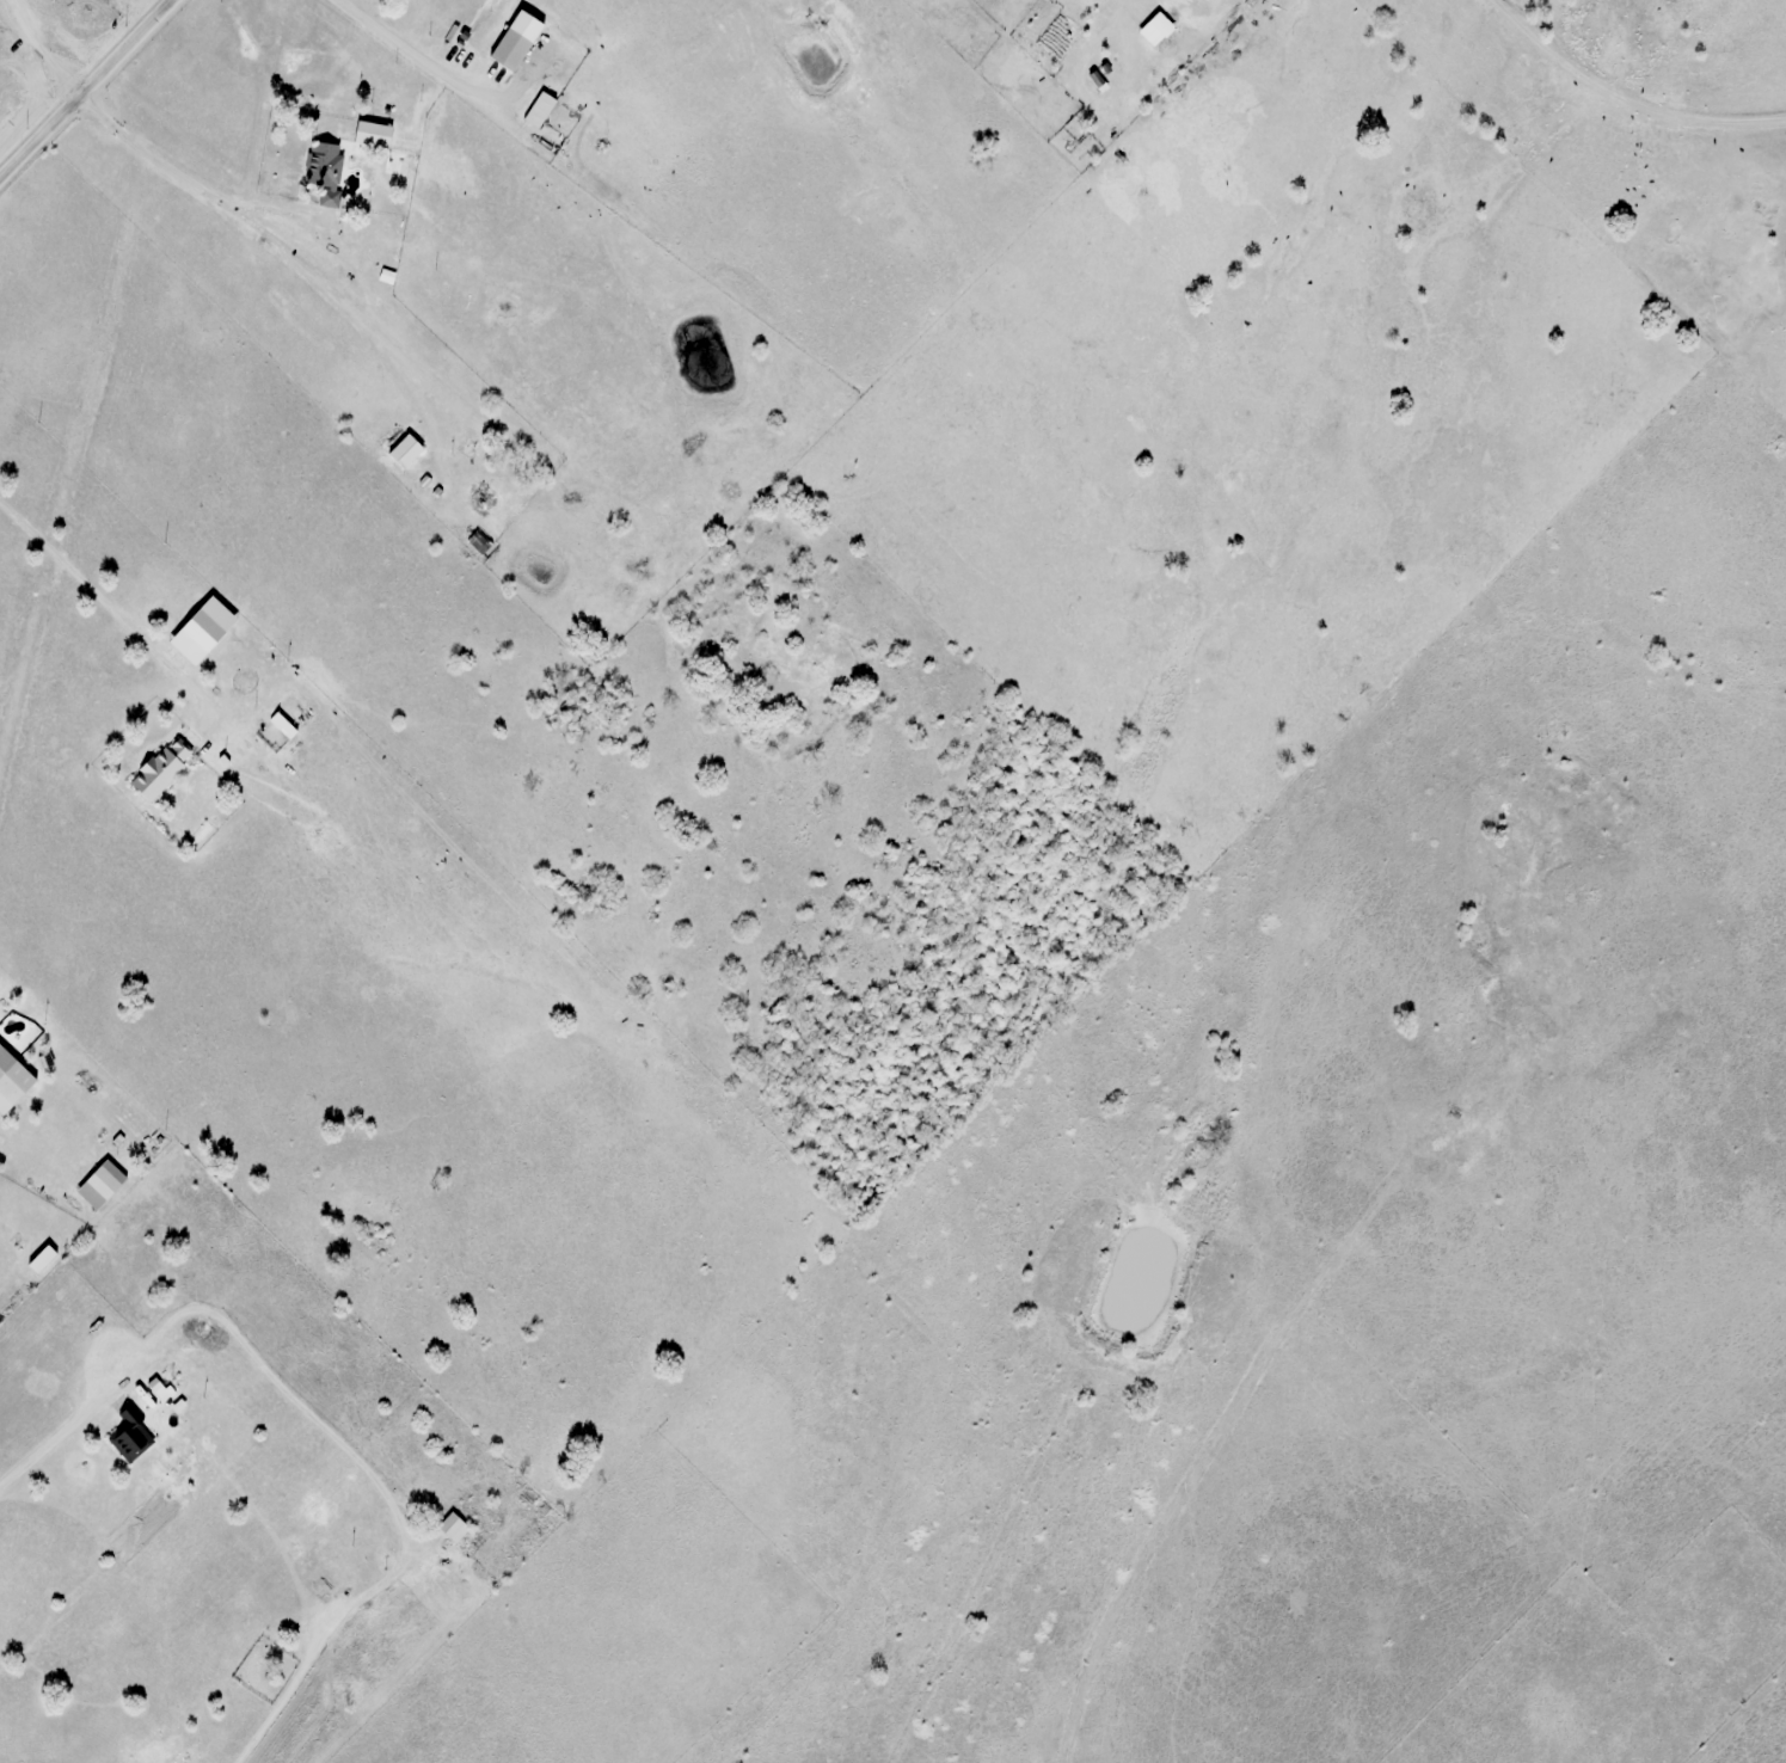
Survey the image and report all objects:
building: (409, 10)
building: (1164, 26)
building: (516, 42)
road: (86, 88)
building: (545, 104)
road: (1610, 112)
building: (373, 134)
building: (326, 170)
building: (406, 451)
building: (480, 542)
building: (290, 718)
building: (161, 768)
building: (12, 1081)
building: (102, 1185)
building: (130, 1436)
building: (453, 1526)
building: (336, 1561)

